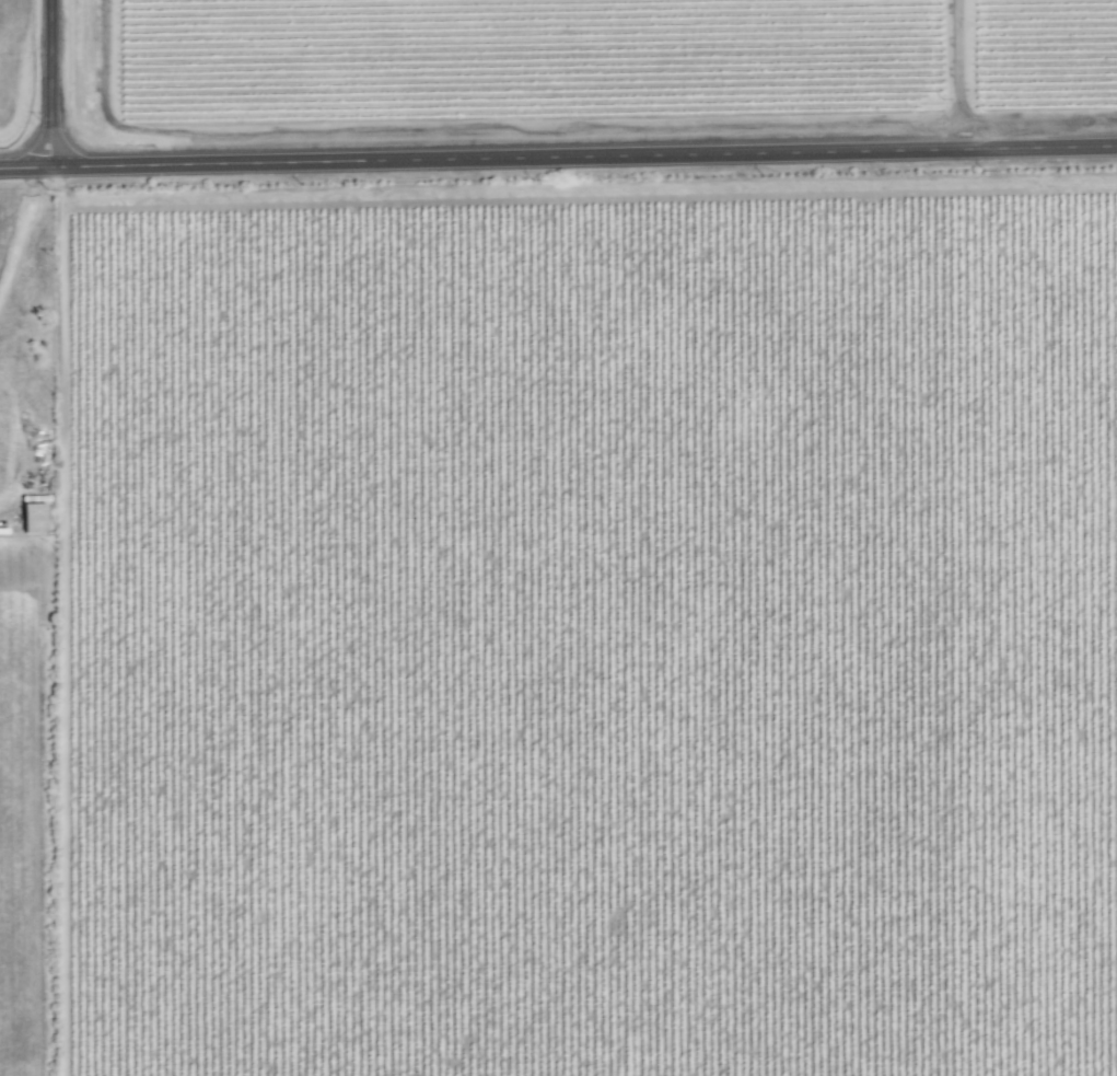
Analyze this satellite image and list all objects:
road: (970, 76)
road: (56, 83)
road: (558, 158)
building: (34, 518)
landfill: (30, 628)

